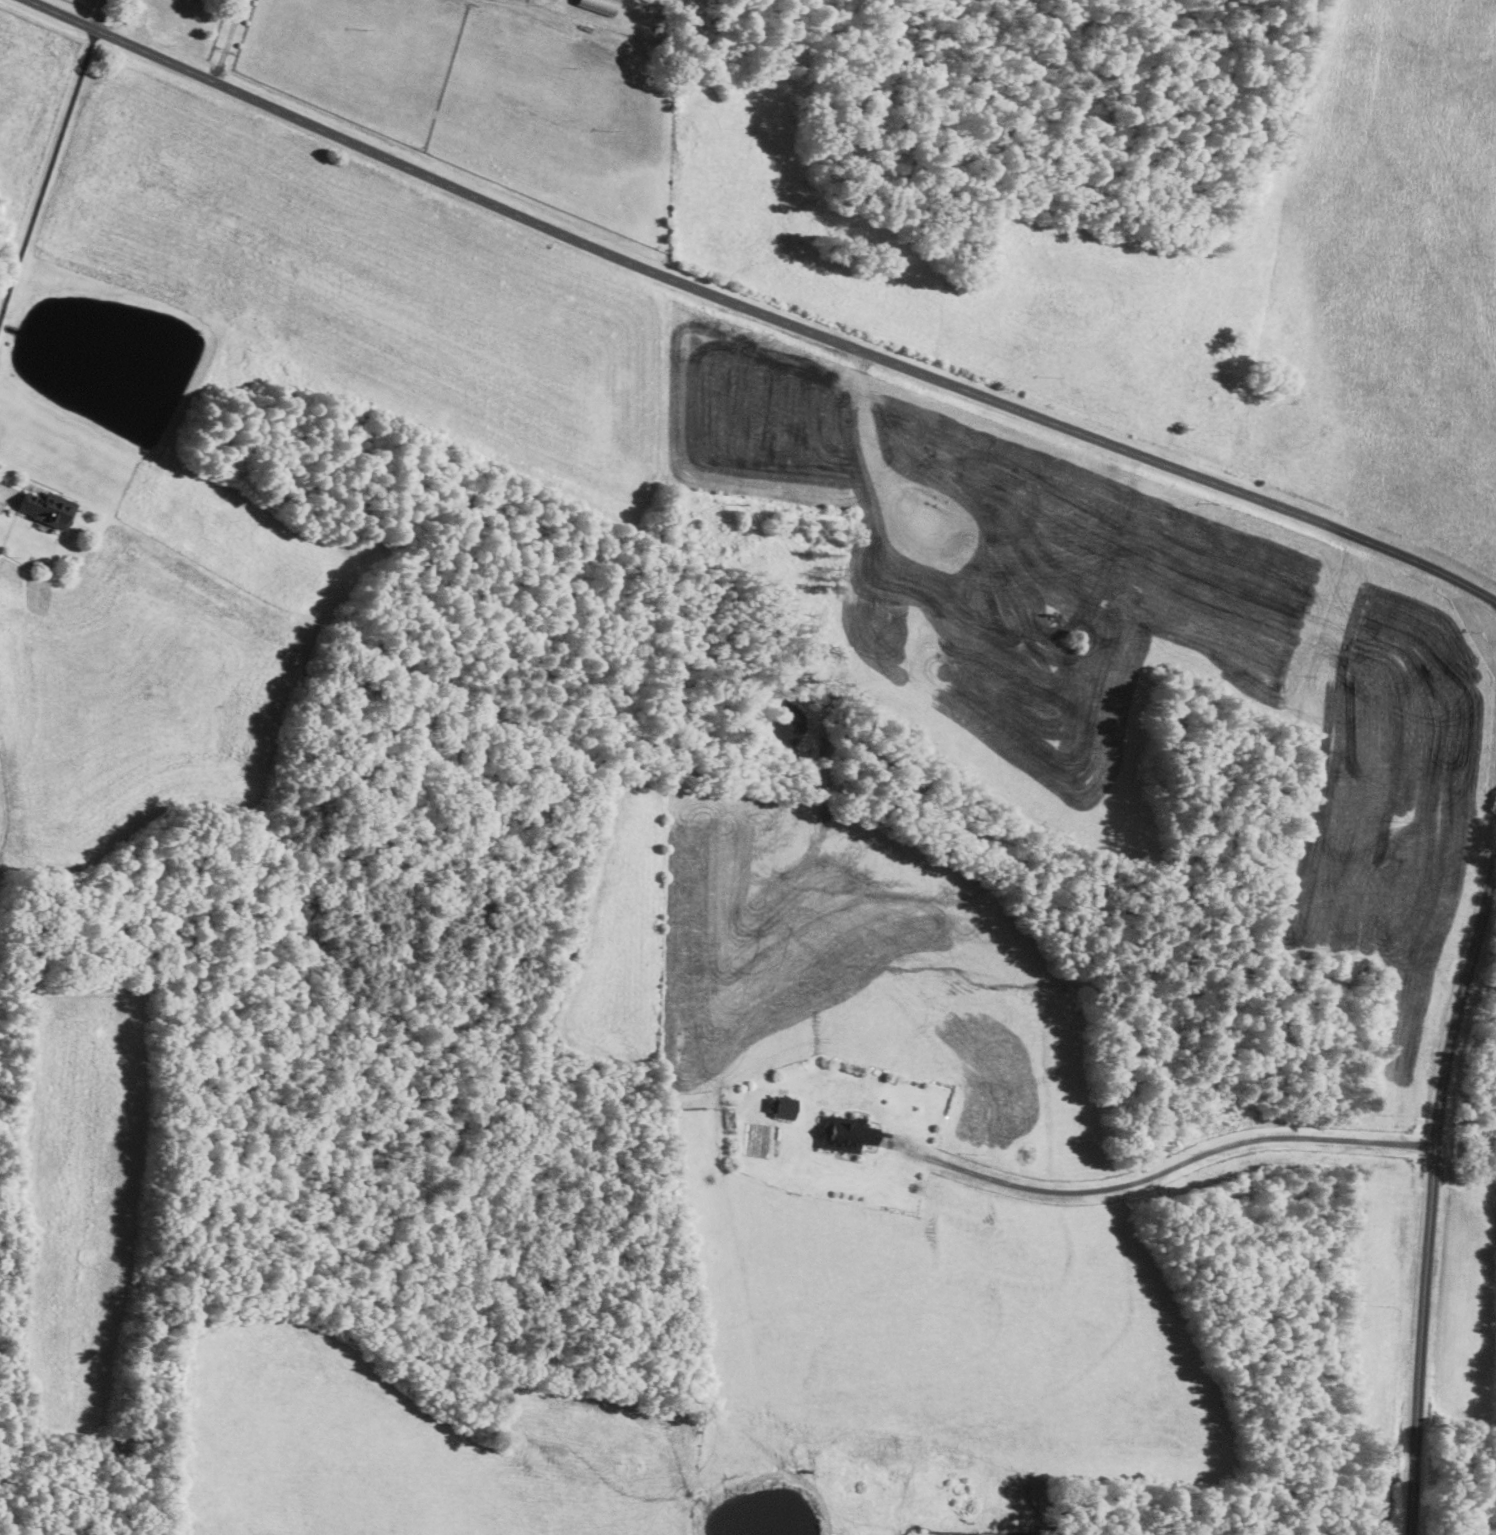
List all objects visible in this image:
road: (228, 41)
road: (47, 176)
road: (757, 312)
building: (49, 508)
building: (849, 1133)
road: (1165, 1168)
road: (1433, 1195)

